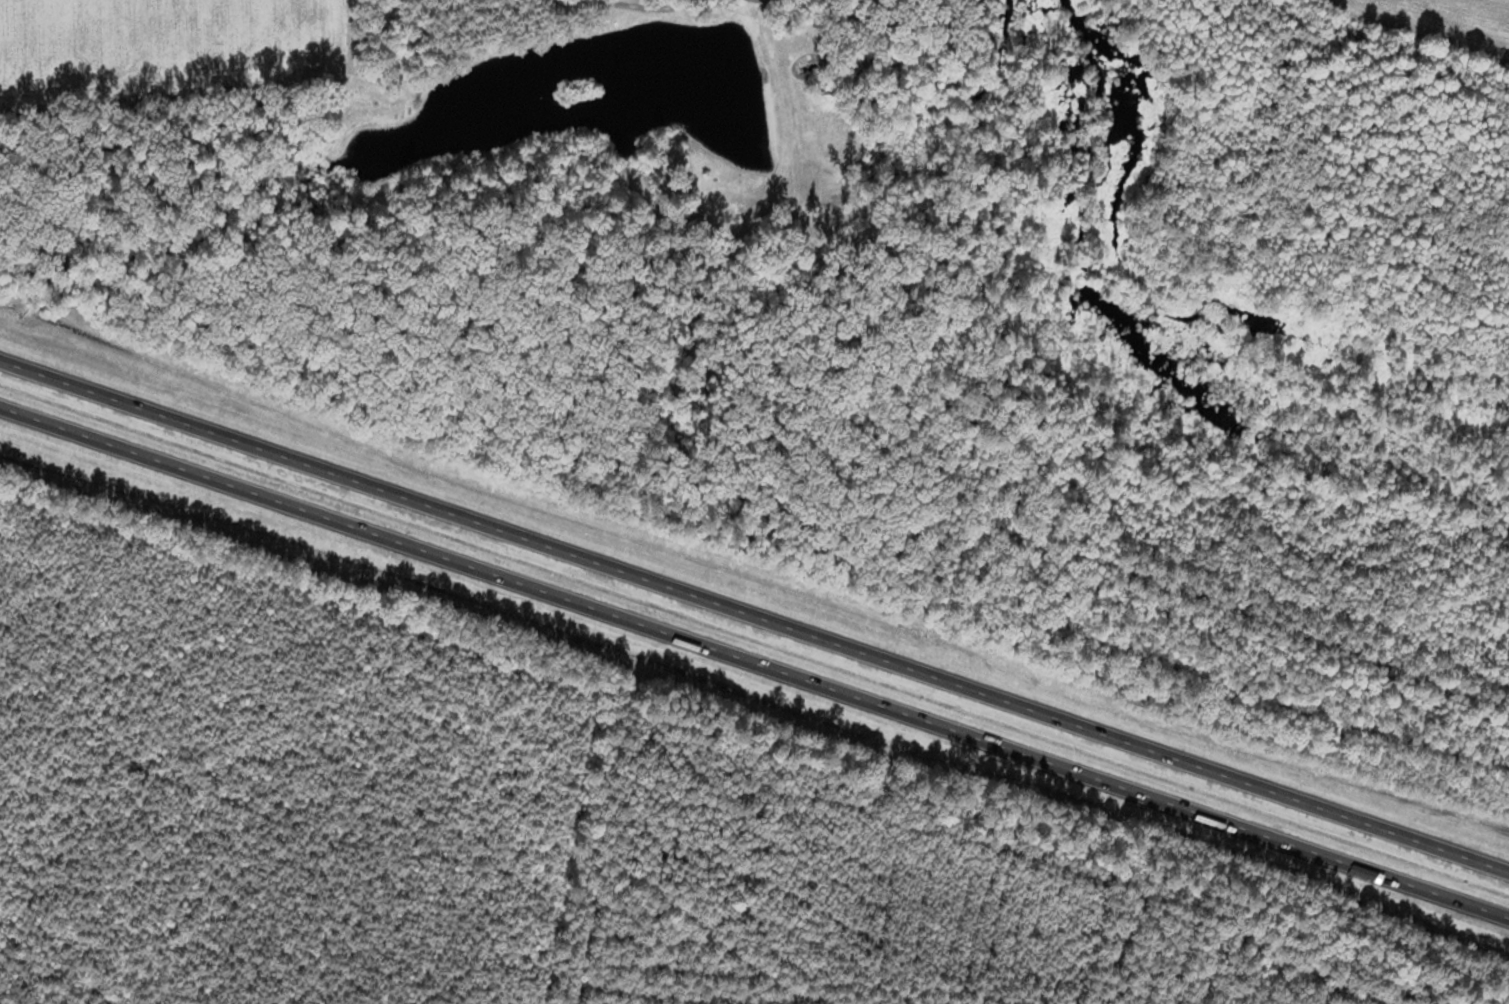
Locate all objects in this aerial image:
road: (639, 6)
road: (752, 613)
road: (751, 673)

